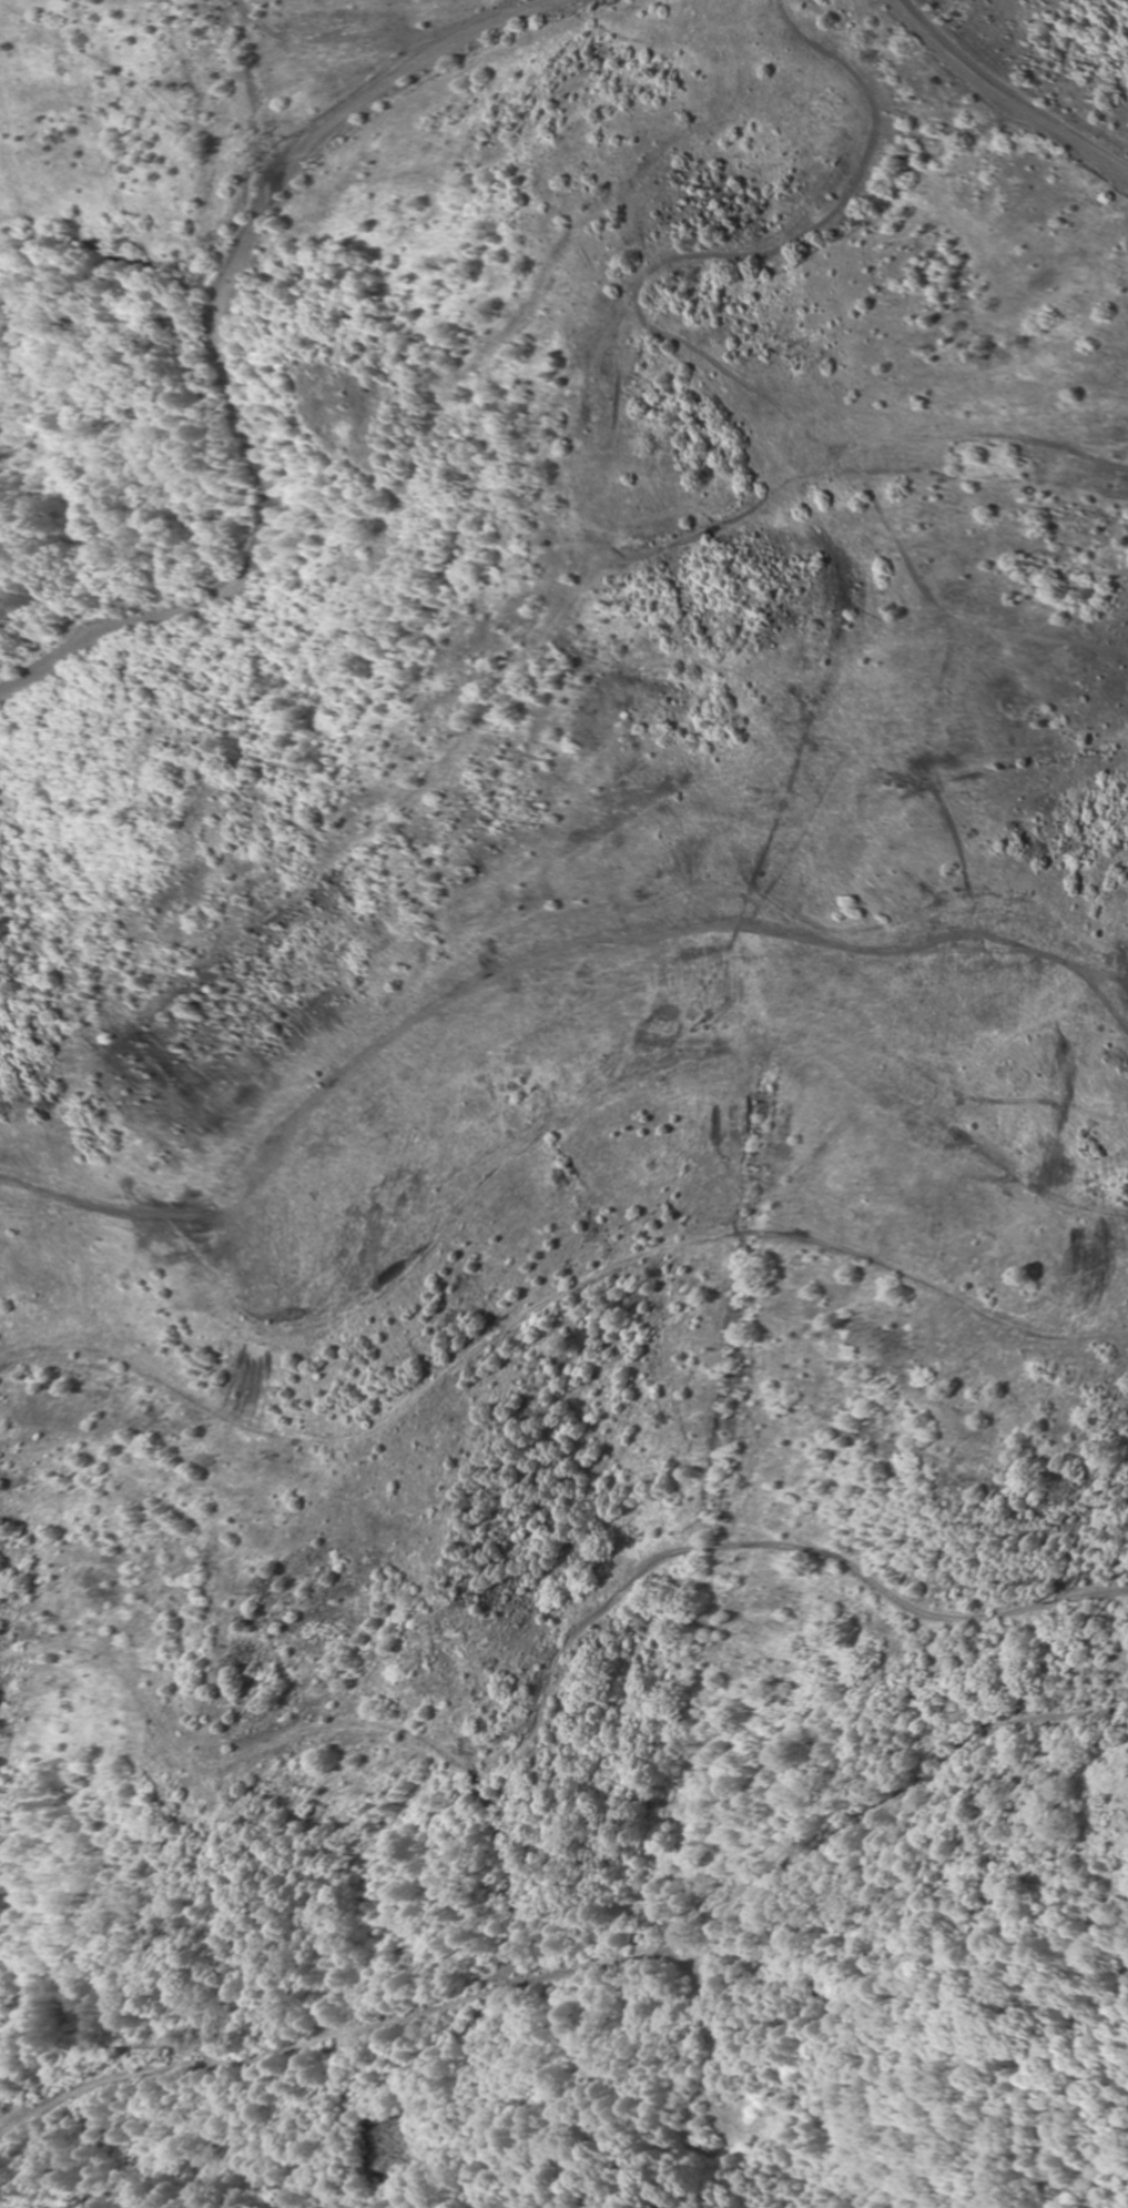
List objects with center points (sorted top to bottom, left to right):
road: (1029, 90)
road: (232, 357)
road: (550, 1683)
road: (876, 1804)
road: (419, 2008)

